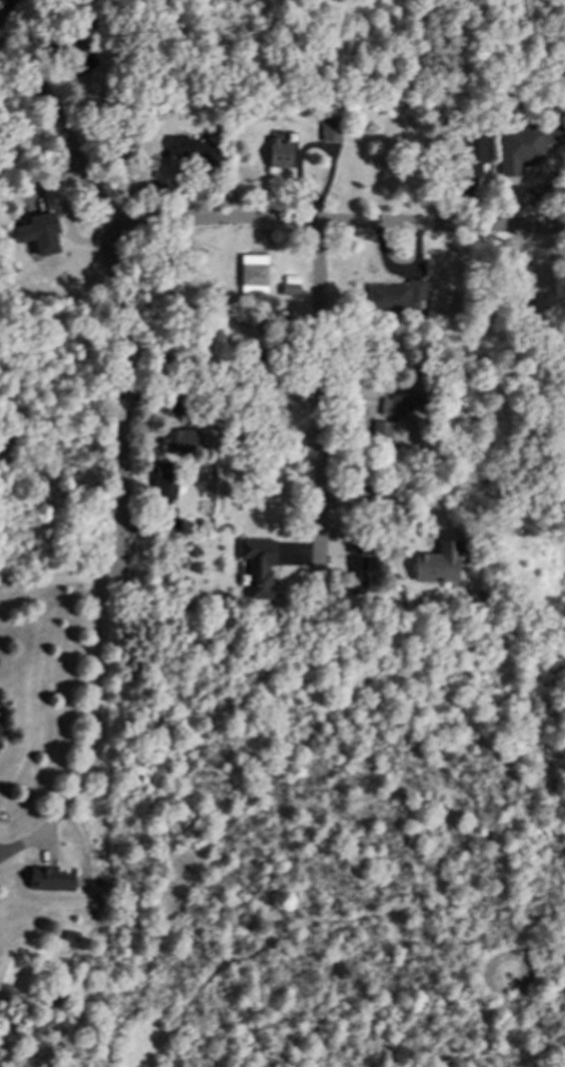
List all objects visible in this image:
building: (3, 1)
building: (76, 51)
building: (328, 127)
building: (522, 143)
building: (470, 149)
building: (275, 151)
building: (195, 154)
road: (341, 227)
road: (564, 227)
building: (40, 231)
building: (252, 271)
building: (286, 286)
building: (520, 286)
road: (118, 292)
building: (393, 294)
building: (510, 308)
building: (249, 354)
road: (321, 398)
building: (393, 404)
building: (437, 426)
building: (380, 429)
building: (178, 439)
building: (162, 478)
road: (373, 495)
building: (358, 540)
building: (437, 558)
building: (256, 565)
building: (356, 569)
road: (55, 580)
building: (312, 593)
building: (407, 598)
building: (415, 598)
building: (220, 604)
road: (88, 735)
road: (0, 855)
road: (0, 856)
building: (46, 876)
building: (67, 933)

